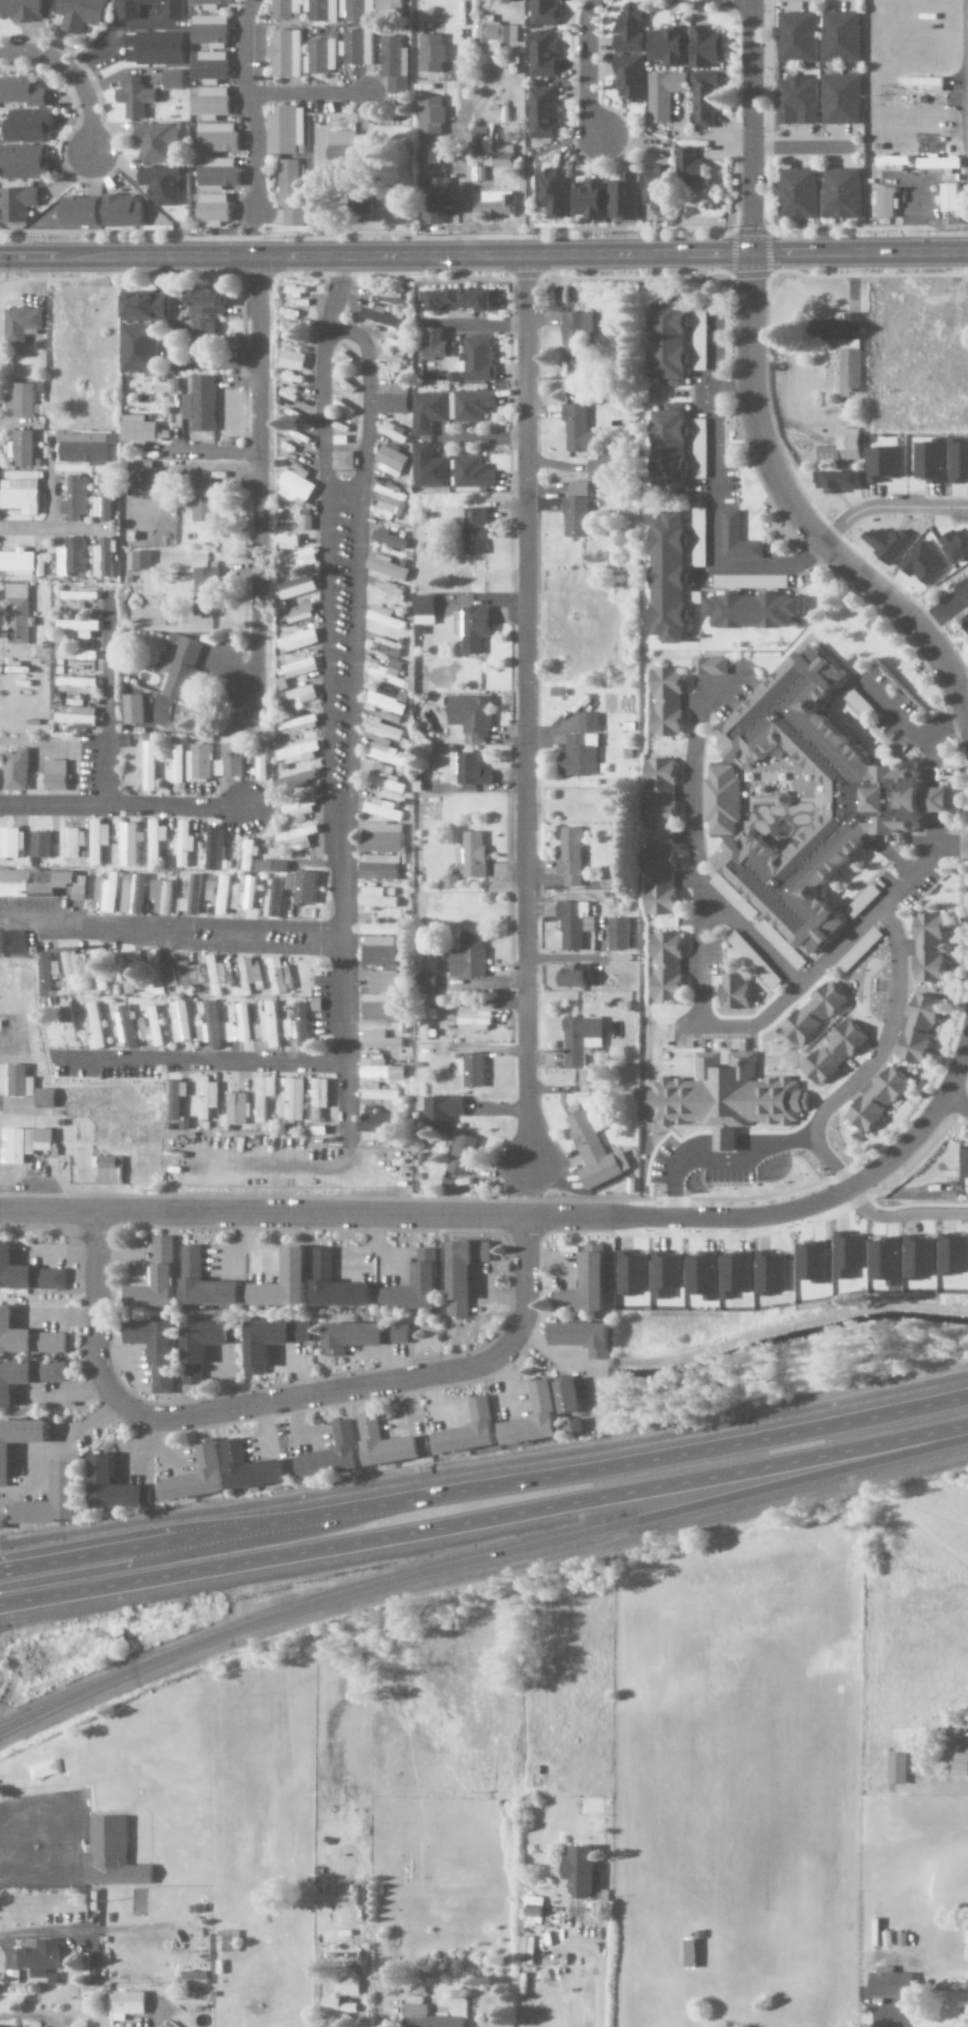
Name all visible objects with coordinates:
building: (504, 1)
building: (213, 4)
building: (391, 6)
building: (287, 9)
building: (22, 10)
building: (357, 10)
building: (323, 11)
building: (130, 13)
building: (542, 13)
building: (83, 14)
building: (627, 29)
building: (211, 31)
building: (496, 35)
building: (794, 38)
building: (839, 38)
building: (359, 47)
building: (665, 47)
building: (704, 48)
building: (156, 49)
building: (287, 54)
building: (433, 54)
building: (541, 54)
building: (322, 57)
building: (211, 66)
road: (585, 66)
road: (71, 75)
building: (175, 79)
building: (627, 79)
building: (21, 92)
road: (304, 95)
building: (662, 95)
building: (134, 97)
building: (702, 100)
building: (839, 100)
building: (795, 101)
building: (213, 102)
road: (247, 104)
building: (540, 114)
road: (967, 114)
building: (432, 115)
building: (30, 126)
building: (287, 131)
building: (219, 139)
building: (156, 143)
building: (484, 145)
building: (343, 146)
building: (432, 157)
building: (25, 162)
building: (684, 167)
building: (220, 173)
building: (290, 184)
building: (163, 186)
building: (437, 189)
building: (657, 191)
building: (554, 192)
building: (795, 194)
building: (839, 194)
building: (947, 194)
building: (625, 196)
building: (590, 199)
building: (365, 203)
building: (498, 204)
building: (882, 204)
building: (18, 205)
building: (214, 209)
building: (82, 212)
building: (124, 212)
building: (434, 217)
building: (295, 218)
road: (484, 252)
road: (333, 287)
building: (293, 290)
building: (389, 298)
building: (462, 299)
building: (209, 300)
building: (297, 302)
building: (146, 307)
building: (287, 313)
building: (385, 318)
building: (23, 323)
building: (292, 326)
building: (203, 335)
building: (578, 335)
building: (290, 337)
building: (440, 344)
building: (141, 348)
building: (289, 359)
building: (480, 359)
building: (289, 377)
building: (572, 393)
building: (285, 394)
building: (25, 400)
road: (750, 400)
building: (396, 401)
building: (202, 404)
building: (471, 405)
building: (286, 411)
building: (429, 412)
building: (579, 429)
building: (140, 430)
building: (295, 432)
building: (285, 446)
building: (25, 448)
building: (86, 448)
building: (673, 448)
building: (844, 448)
building: (699, 449)
building: (343, 461)
building: (392, 462)
building: (885, 463)
building: (609, 466)
building: (430, 467)
building: (474, 473)
road: (257, 475)
building: (294, 484)
building: (22, 495)
building: (77, 498)
building: (204, 498)
building: (106, 500)
building: (578, 510)
building: (303, 512)
building: (302, 520)
building: (476, 531)
building: (285, 537)
building: (390, 539)
building: (739, 539)
building: (73, 557)
building: (105, 558)
building: (298, 558)
building: (142, 560)
building: (22, 563)
building: (387, 567)
building: (678, 569)
road: (356, 579)
building: (291, 585)
road: (326, 589)
building: (207, 590)
building: (387, 591)
building: (81, 595)
building: (425, 610)
building: (755, 610)
building: (294, 612)
building: (18, 614)
building: (385, 617)
building: (81, 627)
building: (474, 628)
building: (168, 639)
building: (296, 640)
building: (388, 647)
building: (296, 666)
building: (711, 666)
building: (181, 671)
building: (390, 672)
building: (78, 685)
building: (279, 685)
building: (296, 693)
road: (106, 699)
building: (389, 700)
building: (669, 702)
road: (525, 706)
building: (130, 709)
building: (473, 715)
building: (79, 716)
building: (589, 723)
building: (294, 725)
building: (385, 729)
building: (296, 752)
building: (385, 752)
building: (581, 755)
building: (229, 761)
building: (259, 762)
building: (198, 763)
building: (176, 766)
building: (147, 767)
building: (470, 769)
building: (17, 770)
building: (57, 775)
building: (292, 779)
building: (386, 779)
building: (877, 784)
building: (664, 793)
road: (120, 807)
building: (297, 808)
building: (384, 810)
building: (296, 837)
building: (383, 837)
building: (96, 840)
building: (10, 842)
building: (70, 842)
building: (154, 842)
building: (128, 843)
building: (182, 843)
building: (39, 844)
building: (212, 848)
building: (247, 853)
building: (474, 854)
building: (572, 856)
building: (380, 867)
building: (664, 880)
building: (288, 882)
building: (32, 883)
building: (208, 885)
building: (76, 888)
building: (96, 888)
building: (305, 888)
building: (151, 890)
building: (131, 893)
building: (193, 893)
building: (107, 894)
building: (221, 894)
building: (248, 894)
building: (162, 896)
building: (378, 897)
building: (233, 898)
building: (272, 898)
building: (181, 905)
building: (575, 925)
road: (170, 929)
building: (379, 929)
building: (621, 934)
building: (13, 943)
building: (931, 948)
building: (380, 951)
building: (471, 956)
building: (669, 967)
building: (72, 971)
building: (103, 971)
building: (46, 973)
building: (162, 973)
building: (190, 975)
building: (219, 975)
building: (250, 975)
building: (577, 976)
building: (428, 982)
building: (133, 983)
building: (737, 991)
road: (340, 996)
building: (384, 998)
building: (816, 1014)
building: (213, 1019)
building: (182, 1021)
building: (69, 1023)
building: (476, 1023)
building: (298, 1024)
building: (95, 1025)
building: (272, 1025)
building: (241, 1026)
building: (127, 1027)
building: (154, 1028)
building: (921, 1029)
building: (382, 1040)
building: (582, 1044)
building: (837, 1052)
road: (197, 1059)
building: (381, 1070)
building: (475, 1070)
building: (20, 1082)
building: (321, 1093)
building: (381, 1094)
building: (265, 1096)
building: (178, 1097)
building: (47, 1098)
building: (209, 1098)
building: (727, 1098)
building: (295, 1099)
building: (880, 1100)
road: (954, 1103)
building: (443, 1112)
building: (376, 1124)
building: (26, 1144)
building: (594, 1151)
building: (464, 1154)
building: (965, 1161)
road: (531, 1216)
building: (953, 1255)
building: (850, 1256)
building: (919, 1258)
building: (886, 1261)
building: (813, 1263)
building: (428, 1267)
building: (28, 1273)
building: (466, 1273)
building: (633, 1273)
building: (771, 1274)
building: (666, 1275)
building: (736, 1275)
building: (703, 1276)
building: (159, 1277)
building: (288, 1282)
building: (207, 1283)
building: (338, 1285)
building: (588, 1287)
building: (365, 1336)
building: (28, 1337)
building: (587, 1338)
building: (273, 1341)
building: (205, 1345)
building: (159, 1351)
building: (27, 1377)
building: (572, 1396)
road: (280, 1400)
building: (536, 1418)
building: (470, 1431)
building: (19, 1443)
building: (391, 1445)
building: (333, 1454)
building: (251, 1468)
building: (196, 1478)
building: (67, 1482)
building: (115, 1486)
road: (485, 1488)
building: (3, 1523)
road: (485, 1524)
road: (201, 1552)
road: (476, 1560)
building: (962, 1758)
building: (899, 1769)
building: (114, 1856)
building: (586, 1875)
building: (534, 1917)
building: (229, 1941)
building: (691, 1954)
building: (42, 1959)
building: (196, 1976)
building: (892, 1984)
building: (336, 2006)
building: (158, 2007)
building: (428, 2015)

